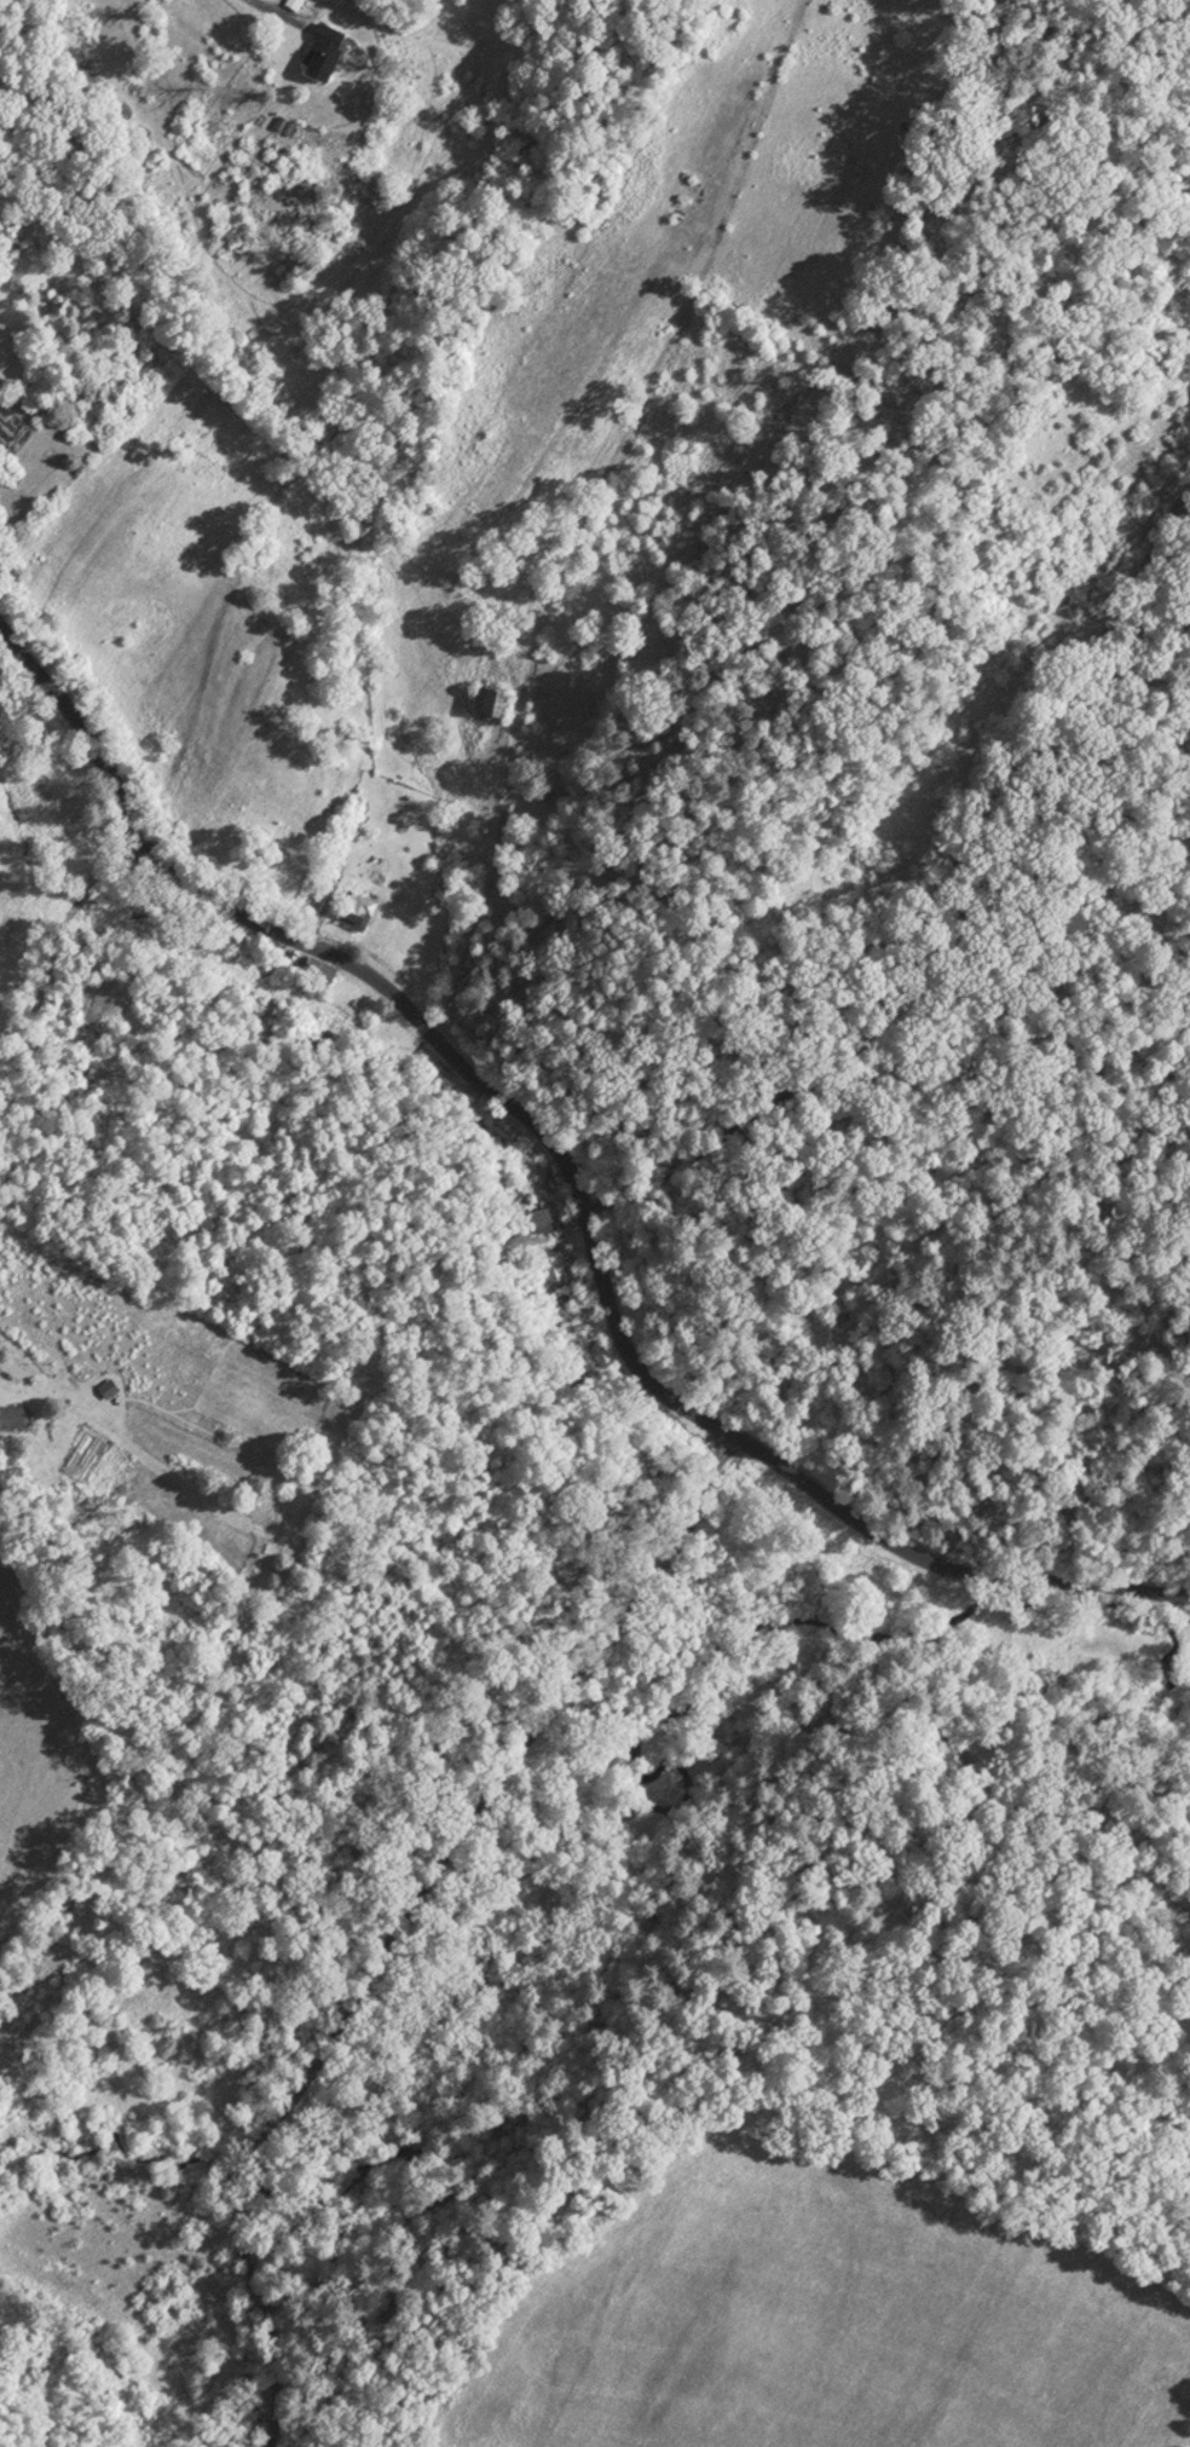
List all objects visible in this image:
road: (255, 1)
building: (320, 52)
road: (591, 508)
building: (487, 700)
building: (86, 838)
road: (945, 901)
building: (354, 910)
road: (148, 934)
building: (318, 971)
road: (404, 1008)
building: (543, 1227)
building: (556, 1268)
building: (11, 1416)
road: (958, 1563)
road: (496, 1817)
road: (272, 2318)

